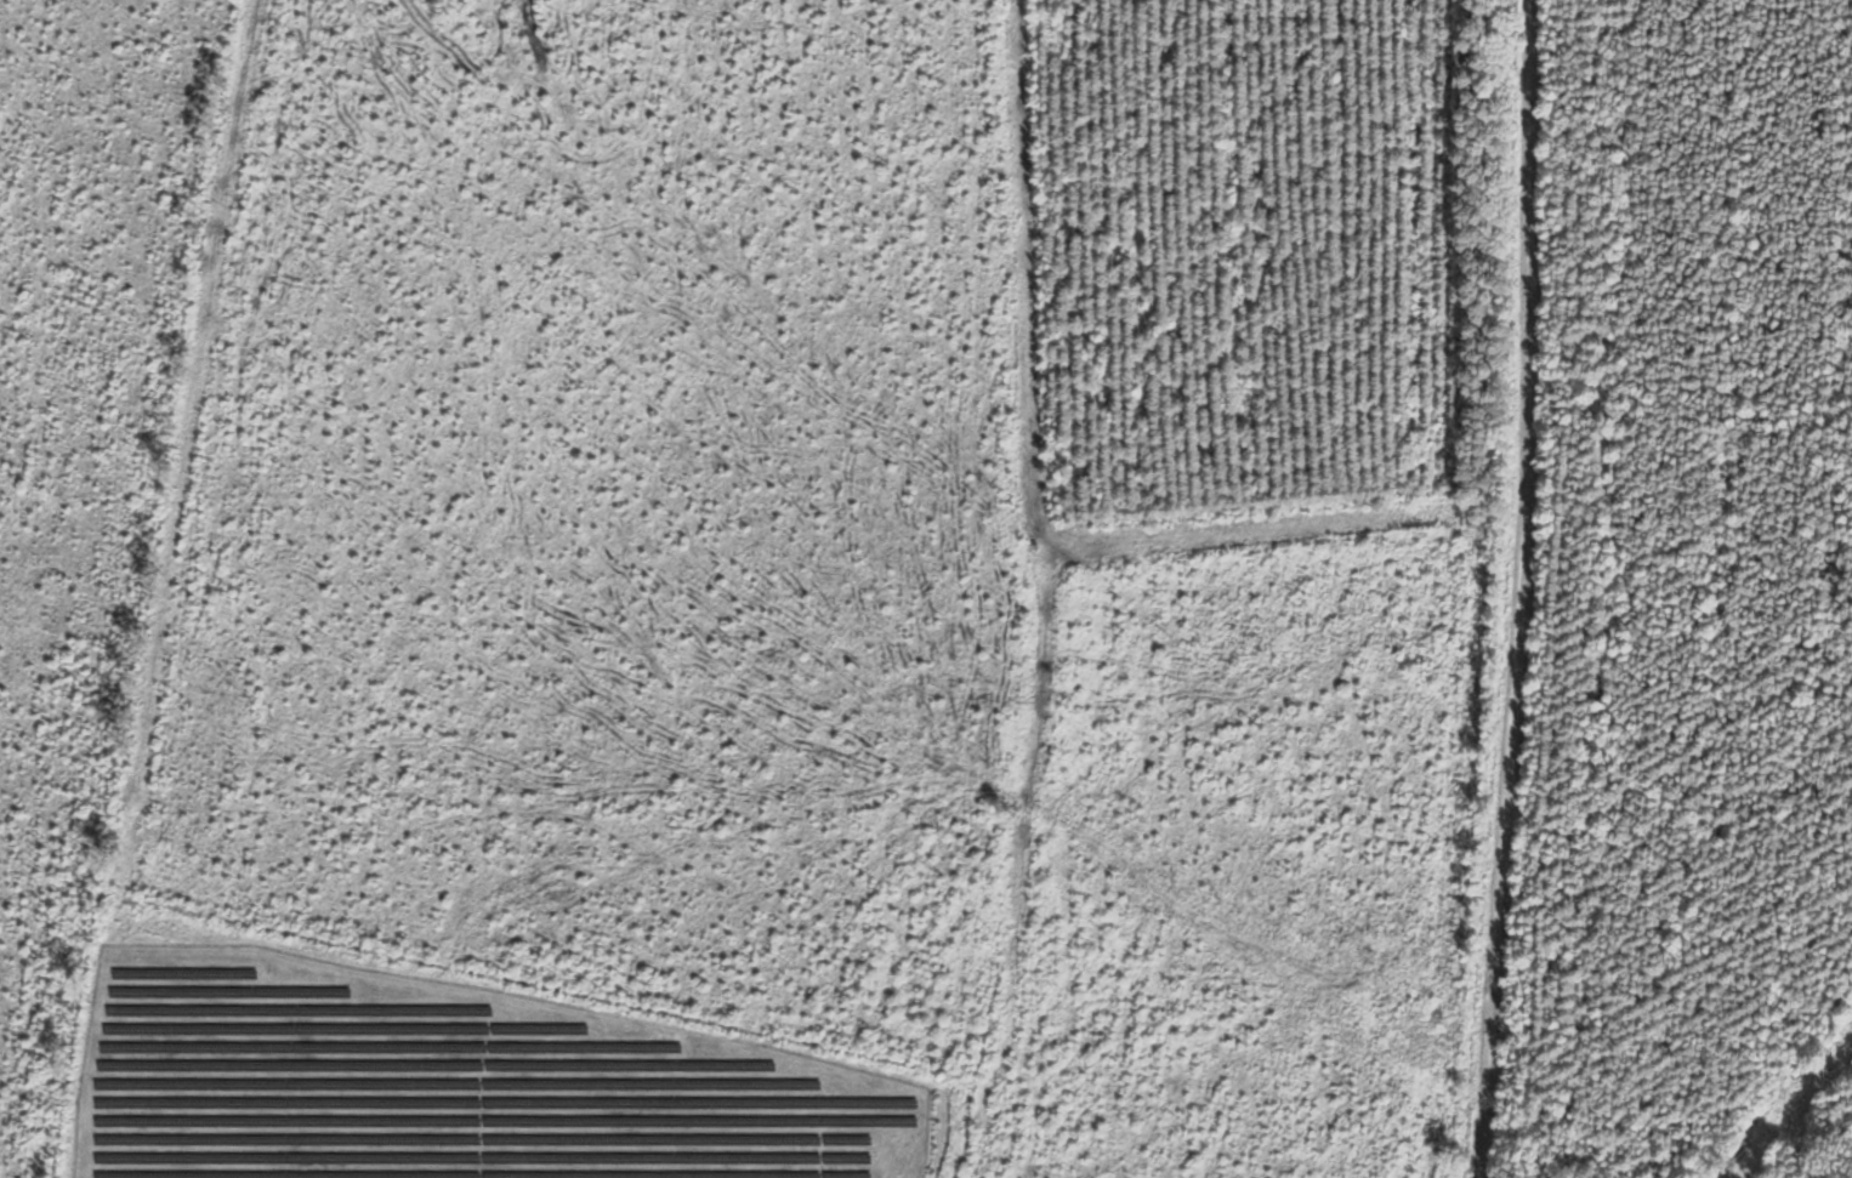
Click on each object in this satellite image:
road: (1466, 588)

